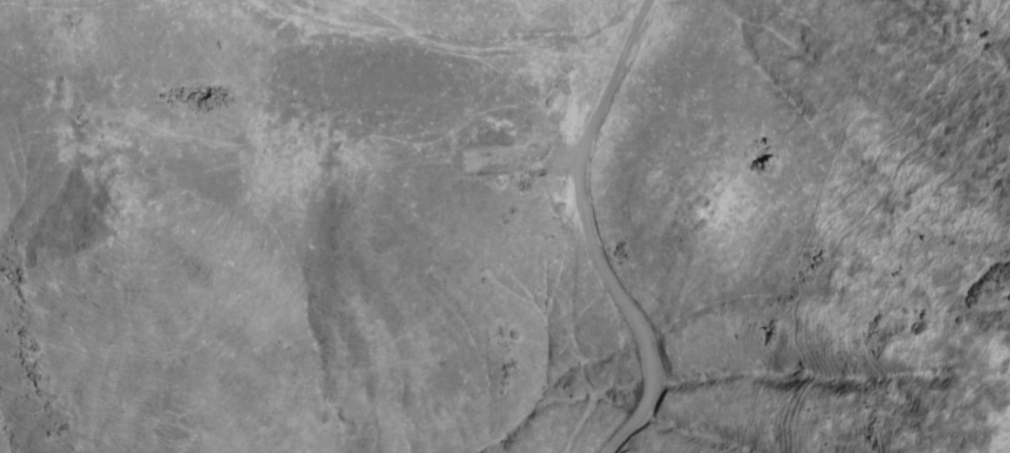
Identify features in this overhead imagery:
road: (593, 233)

